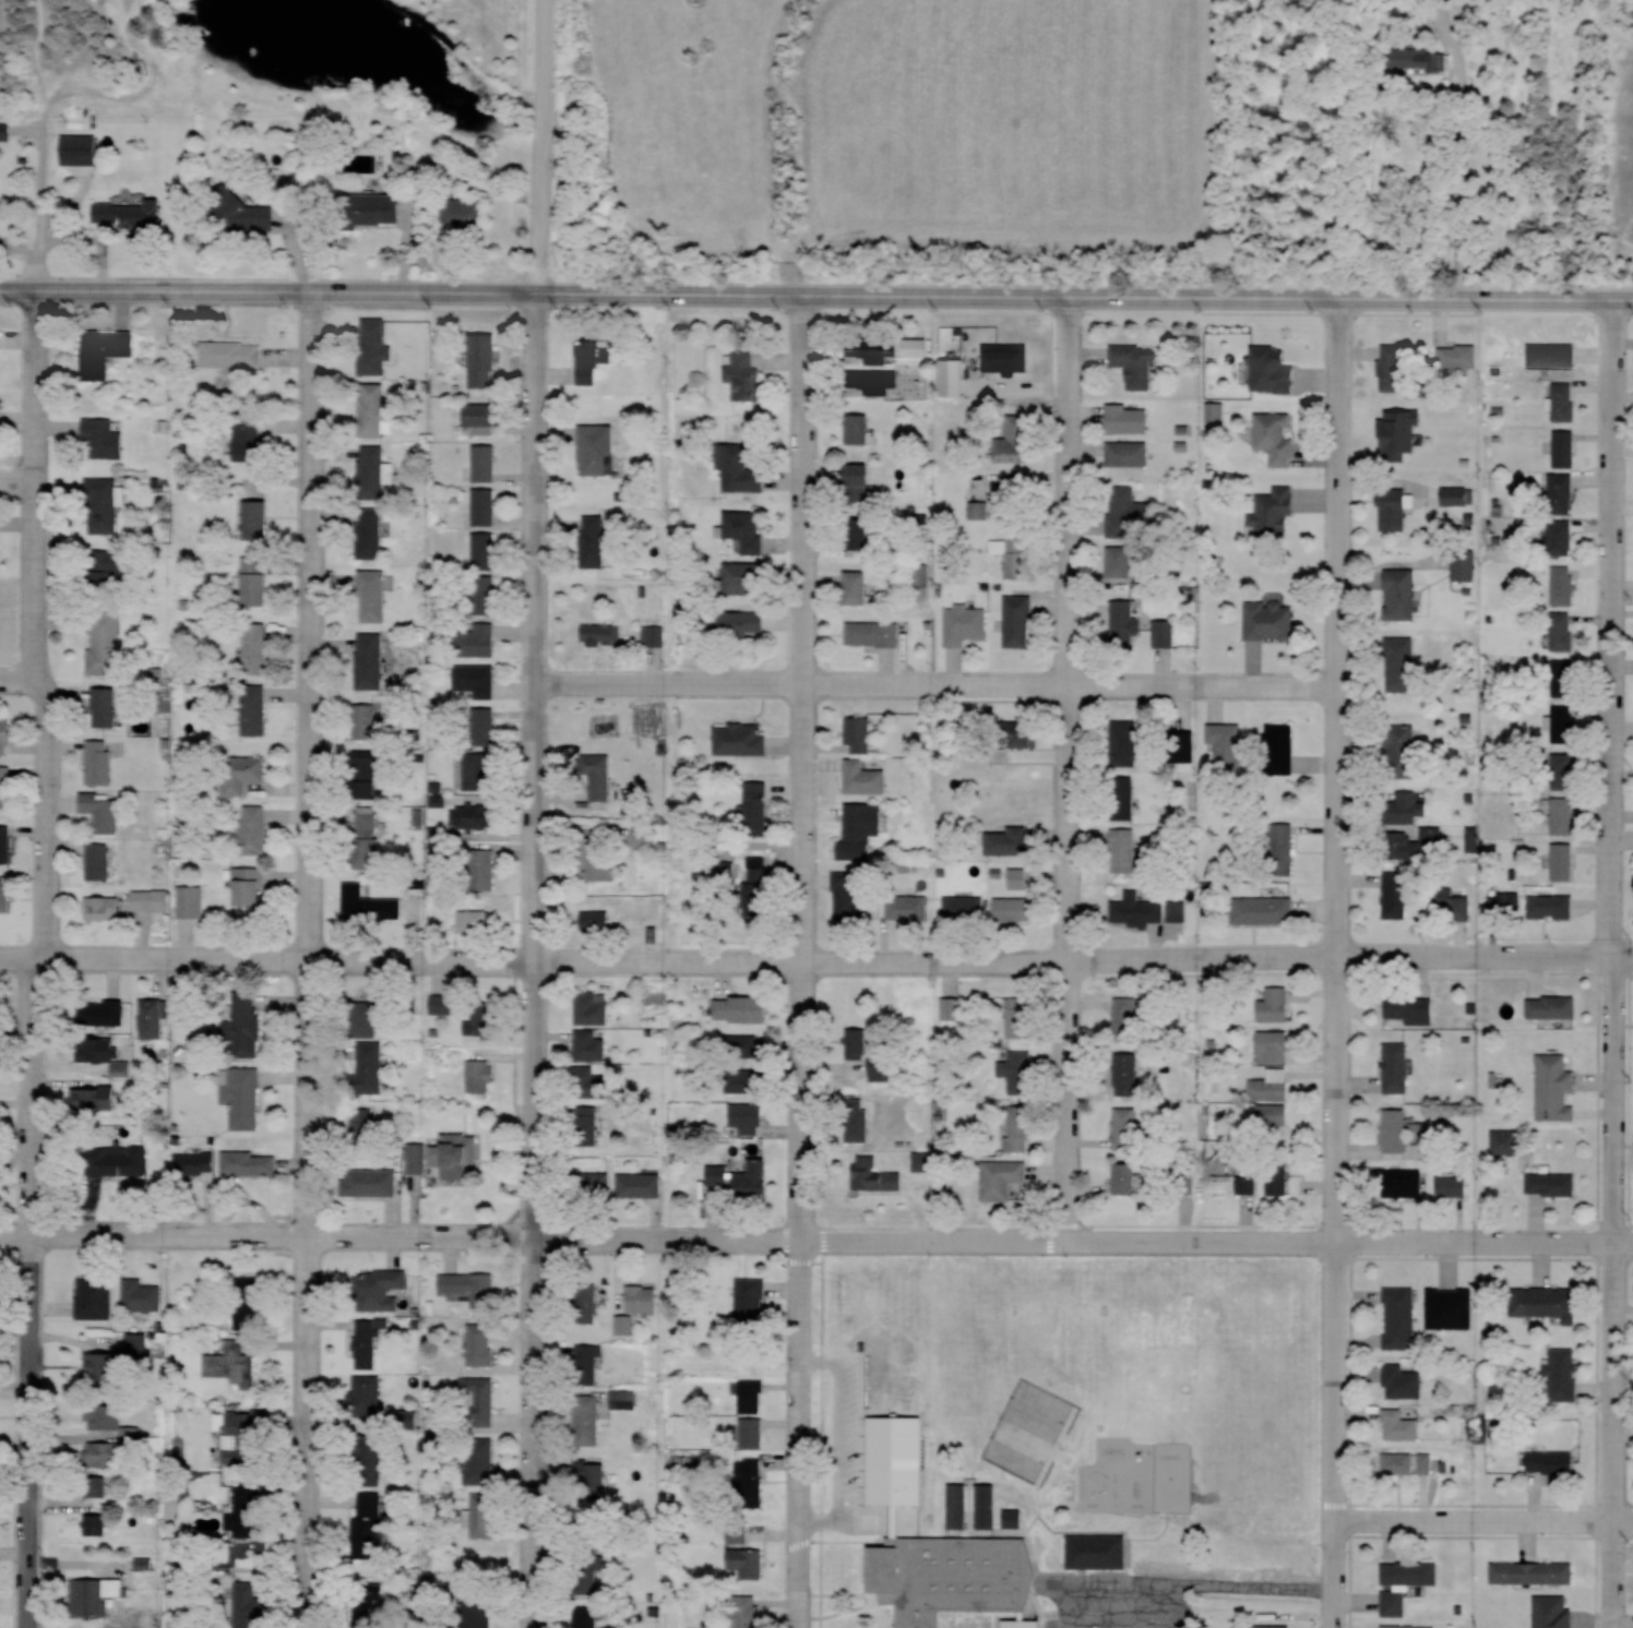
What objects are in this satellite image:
building: (1415, 58)
road: (545, 147)
building: (83, 148)
road: (1517, 148)
building: (381, 206)
building: (248, 213)
building: (467, 213)
building: (130, 214)
road: (816, 295)
building: (377, 346)
building: (1015, 347)
building: (872, 348)
building: (105, 350)
building: (1459, 354)
building: (1554, 354)
building: (237, 355)
building: (595, 357)
building: (484, 359)
building: (1136, 362)
building: (1395, 366)
building: (747, 374)
building: (875, 381)
building: (1565, 399)
building: (1217, 410)
building: (376, 411)
building: (479, 417)
building: (1131, 418)
building: (860, 427)
building: (1278, 435)
building: (249, 436)
building: (105, 438)
building: (1016, 439)
building: (1565, 444)
building: (597, 447)
building: (1129, 452)
building: (486, 462)
building: (740, 467)
building: (376, 470)
building: (861, 479)
road: (39, 483)
road: (20, 484)
building: (1563, 492)
building: (1459, 494)
building: (1013, 499)
building: (486, 505)
building: (1397, 505)
building: (102, 506)
building: (979, 508)
building: (1127, 510)
building: (1276, 511)
building: (257, 518)
building: (748, 528)
building: (858, 532)
building: (370, 534)
building: (1562, 536)
building: (597, 540)
building: (486, 550)
building: (1013, 554)
building: (1121, 561)
building: (1466, 564)
building: (111, 565)
building: (746, 577)
building: (257, 580)
building: (1565, 585)
building: (858, 587)
building: (484, 594)
building: (1403, 594)
building: (372, 596)
building: (1127, 618)
building: (1271, 619)
building: (1020, 621)
building: (743, 623)
building: (968, 625)
building: (1563, 630)
building: (1167, 632)
building: (874, 633)
building: (603, 634)
building: (655, 635)
building: (478, 641)
building: (104, 643)
building: (255, 648)
building: (370, 660)
building: (1402, 662)
building: (1562, 672)
road: (19, 677)
building: (477, 679)
road: (939, 690)
building: (105, 703)
building: (255, 709)
building: (366, 721)
building: (1565, 722)
building: (481, 727)
building: (859, 734)
building: (7, 735)
building: (742, 739)
building: (1125, 741)
building: (1228, 744)
building: (1282, 746)
building: (1403, 750)
building: (100, 762)
road: (310, 767)
building: (1563, 768)
road: (1074, 769)
building: (477, 771)
building: (243, 774)
building: (368, 776)
building: (599, 777)
building: (865, 778)
building: (5, 783)
building: (1123, 797)
building: (1410, 805)
building: (759, 807)
building: (104, 811)
building: (1564, 814)
building: (474, 816)
building: (255, 829)
building: (859, 829)
building: (369, 837)
building: (1010, 840)
building: (5, 843)
building: (1420, 843)
building: (1285, 848)
building: (1124, 849)
building: (599, 859)
building: (1565, 860)
building: (99, 861)
building: (482, 870)
building: (1018, 876)
building: (760, 882)
building: (251, 886)
building: (1398, 893)
building: (5, 894)
building: (851, 894)
building: (152, 899)
building: (189, 901)
building: (1507, 903)
building: (1554, 905)
building: (104, 907)
building: (909, 907)
building: (963, 907)
building: (1461, 907)
building: (378, 908)
building: (1017, 908)
building: (1139, 909)
building: (1265, 909)
building: (475, 921)
building: (598, 921)
road: (536, 960)
road: (807, 960)
road: (816, 962)
road: (1342, 962)
road: (1619, 963)
building: (443, 1004)
building: (1277, 1004)
building: (1411, 1004)
building: (1554, 1006)
building: (594, 1008)
building: (752, 1008)
building: (951, 1008)
building: (103, 1011)
building: (486, 1016)
building: (1020, 1016)
building: (152, 1017)
building: (1130, 1017)
building: (366, 1018)
building: (247, 1025)
building: (858, 1041)
building: (741, 1045)
building: (1276, 1045)
building: (592, 1046)
building: (106, 1053)
building: (370, 1067)
building: (1398, 1067)
building: (1018, 1070)
building: (1128, 1074)
building: (482, 1076)
building: (748, 1080)
building: (591, 1081)
building: (1274, 1086)
building: (1557, 1088)
building: (242, 1096)
building: (95, 1097)
building: (1275, 1114)
building: (749, 1116)
building: (858, 1121)
building: (365, 1125)
building: (588, 1125)
building: (1129, 1127)
building: (1398, 1129)
building: (1422, 1132)
building: (1012, 1136)
building: (1506, 1141)
road: (48, 1149)
building: (417, 1154)
building: (457, 1154)
building: (118, 1160)
building: (195, 1163)
building: (251, 1163)
building: (719, 1174)
building: (877, 1174)
building: (1283, 1176)
building: (1003, 1178)
building: (1131, 1178)
building: (754, 1180)
building: (376, 1182)
building: (1405, 1183)
building: (596, 1184)
building: (1248, 1184)
building: (1554, 1184)
building: (641, 1185)
building: (1456, 1185)
road: (815, 1243)
building: (381, 1289)
building: (466, 1289)
building: (143, 1294)
building: (96, 1297)
building: (644, 1298)
building: (752, 1300)
building: (1545, 1302)
building: (249, 1303)
building: (587, 1304)
building: (1451, 1307)
building: (1400, 1317)
building: (625, 1325)
building: (370, 1341)
building: (481, 1344)
building: (234, 1364)
building: (589, 1365)
park: (1255, 1366)
building: (106, 1367)
building: (1564, 1374)
building: (1404, 1381)
building: (752, 1396)
building: (369, 1399)
building: (478, 1401)
building: (588, 1420)
building: (1402, 1425)
park: (1032, 1429)
building: (249, 1433)
building: (753, 1433)
road: (313, 1435)
building: (108, 1453)
building: (370, 1459)
building: (480, 1460)
building: (1553, 1461)
building: (1402, 1462)
building: (1427, 1462)
building: (753, 1474)
building: (591, 1476)
building: (974, 1506)
building: (249, 1510)
building: (482, 1515)
building: (1015, 1518)
building: (97, 1523)
road: (1486, 1523)
building: (369, 1525)
building: (1096, 1548)
building: (751, 1564)
building: (1413, 1572)
building: (1535, 1572)
building: (956, 1578)
building: (96, 1595)
building: (1395, 1603)
building: (247, 1604)
building: (368, 1604)
building: (477, 1611)
building: (748, 1611)
building: (1555, 1611)
building: (584, 1616)
building: (1273, 1626)
building: (1410, 1626)

